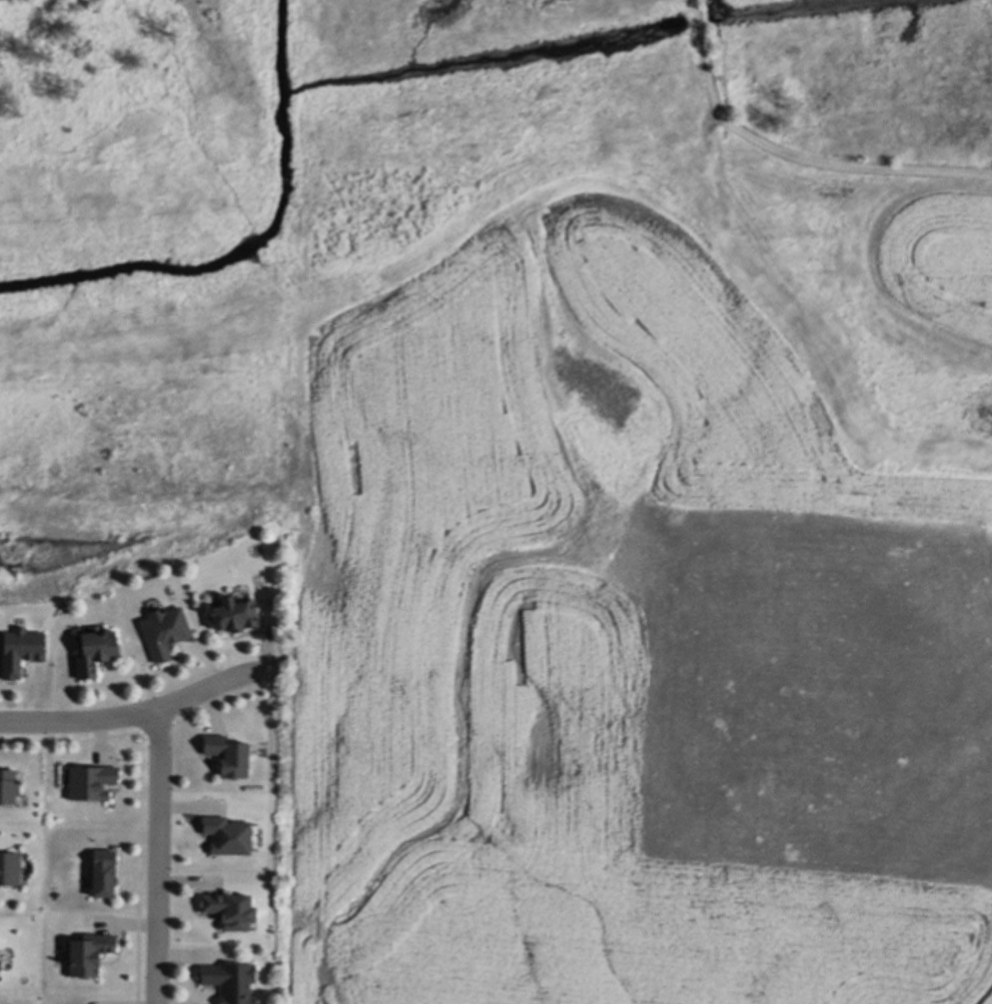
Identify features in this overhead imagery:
road: (791, 156)
crop: (651, 609)
building: (231, 614)
building: (161, 631)
building: (17, 649)
building: (92, 651)
road: (134, 720)
building: (224, 754)
building: (87, 782)
building: (8, 786)
building: (224, 835)
road: (155, 860)
building: (8, 867)
building: (101, 871)
building: (226, 909)
building: (88, 953)
building: (226, 981)

